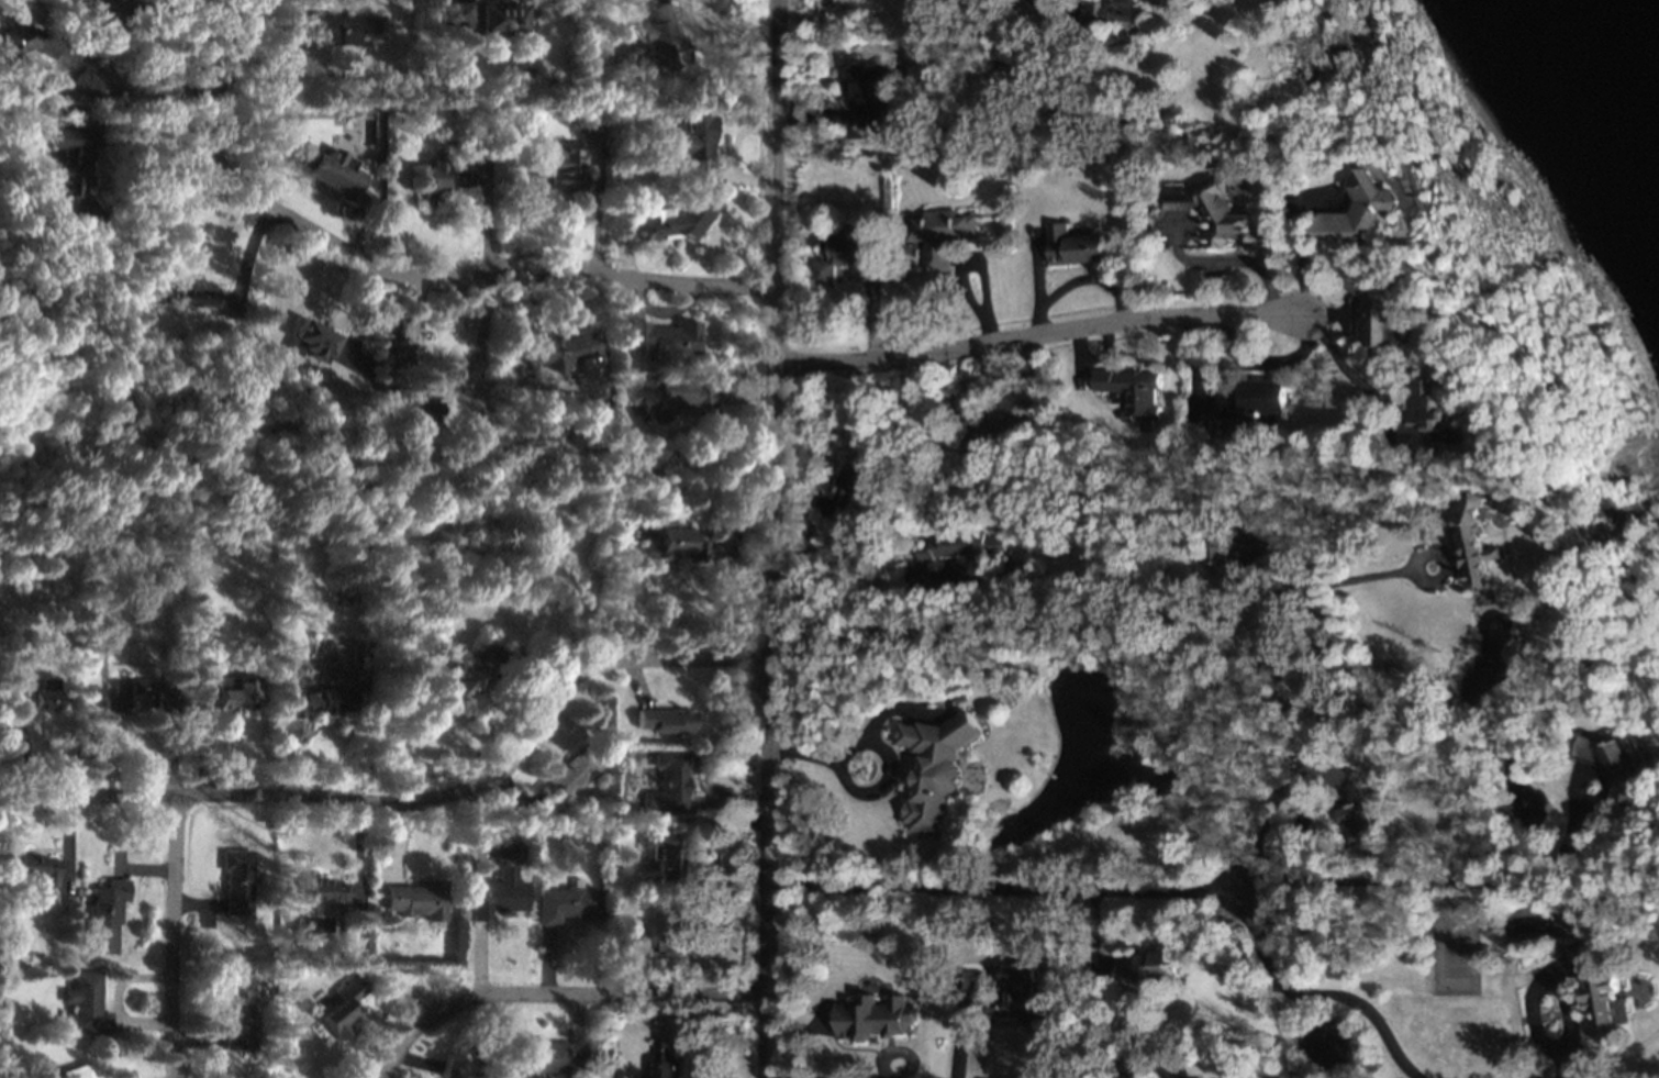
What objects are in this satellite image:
building: (71, 0)
road: (660, 0)
road: (314, 4)
building: (89, 13)
building: (1110, 14)
road: (114, 16)
road: (165, 18)
building: (482, 19)
building: (337, 25)
building: (599, 35)
building: (24, 41)
building: (664, 43)
road: (67, 58)
road: (112, 89)
building: (866, 93)
road: (216, 97)
road: (840, 114)
building: (458, 116)
building: (388, 118)
building: (102, 122)
building: (584, 136)
road: (737, 137)
road: (134, 146)
building: (694, 148)
building: (568, 170)
building: (332, 174)
building: (74, 176)
road: (739, 178)
building: (442, 179)
road: (599, 205)
building: (1358, 211)
road: (487, 212)
building: (1217, 213)
building: (677, 222)
road: (631, 232)
road: (354, 234)
building: (939, 236)
road: (1301, 240)
building: (1072, 247)
road: (624, 248)
road: (249, 251)
road: (1181, 254)
building: (840, 255)
road: (979, 260)
road: (1239, 260)
road: (501, 266)
road: (1035, 273)
road: (1075, 281)
road: (533, 293)
building: (185, 298)
road: (638, 298)
road: (240, 300)
road: (868, 303)
road: (520, 310)
road: (671, 310)
building: (1377, 312)
road: (1349, 313)
road: (1327, 315)
road: (364, 322)
building: (392, 324)
road: (1039, 335)
building: (661, 338)
building: (309, 342)
road: (1103, 352)
building: (560, 356)
road: (1077, 357)
road: (981, 363)
road: (1269, 365)
road: (1193, 367)
road: (1352, 376)
road: (984, 378)
road: (443, 384)
road: (744, 393)
building: (1132, 394)
building: (668, 398)
building: (1257, 405)
road: (1196, 409)
building: (409, 416)
building: (992, 419)
building: (1426, 420)
building: (844, 493)
building: (287, 521)
road: (771, 538)
road: (1245, 540)
building: (1478, 543)
building: (673, 545)
road: (1261, 547)
road: (733, 552)
road: (711, 553)
building: (1221, 553)
road: (805, 555)
building: (950, 555)
road: (722, 569)
building: (1016, 576)
building: (757, 581)
road: (876, 608)
road: (1150, 615)
road: (530, 669)
building: (469, 673)
road: (636, 682)
building: (34, 694)
building: (138, 694)
building: (227, 694)
building: (319, 697)
building: (1544, 698)
building: (962, 699)
road: (895, 708)
building: (664, 721)
road: (1656, 725)
road: (200, 745)
road: (24, 752)
road: (171, 752)
road: (287, 758)
building: (1613, 769)
building: (935, 770)
road: (1595, 776)
building: (567, 778)
building: (667, 784)
road: (866, 794)
road: (513, 797)
road: (414, 798)
building: (1344, 799)
road: (727, 802)
road: (716, 823)
road: (400, 841)
road: (65, 843)
road: (357, 849)
building: (664, 858)
building: (30, 869)
road: (140, 869)
road: (62, 874)
building: (236, 880)
road: (1285, 885)
building: (315, 891)
road: (1115, 891)
building: (499, 896)
building: (417, 900)
road: (359, 902)
building: (567, 903)
road: (196, 904)
building: (104, 915)
road: (170, 936)
building: (656, 937)
road: (1093, 938)
park: (1455, 952)
road: (479, 959)
road: (547, 960)
building: (1146, 968)
road: (637, 974)
road: (1566, 978)
road: (123, 979)
building: (968, 981)
road: (1543, 985)
building: (266, 987)
road: (399, 989)
building: (1599, 991)
road: (555, 993)
building: (1016, 997)
building: (85, 1003)
building: (342, 1009)
building: (236, 1016)
road: (667, 1016)
building: (871, 1018)
road: (141, 1023)
building: (1, 1026)
road: (193, 1040)
road: (956, 1041)
building: (548, 1058)
road: (1614, 1058)
building: (666, 1060)
road: (422, 1062)
road: (1561, 1064)
building: (461, 1069)
building: (75, 1071)

